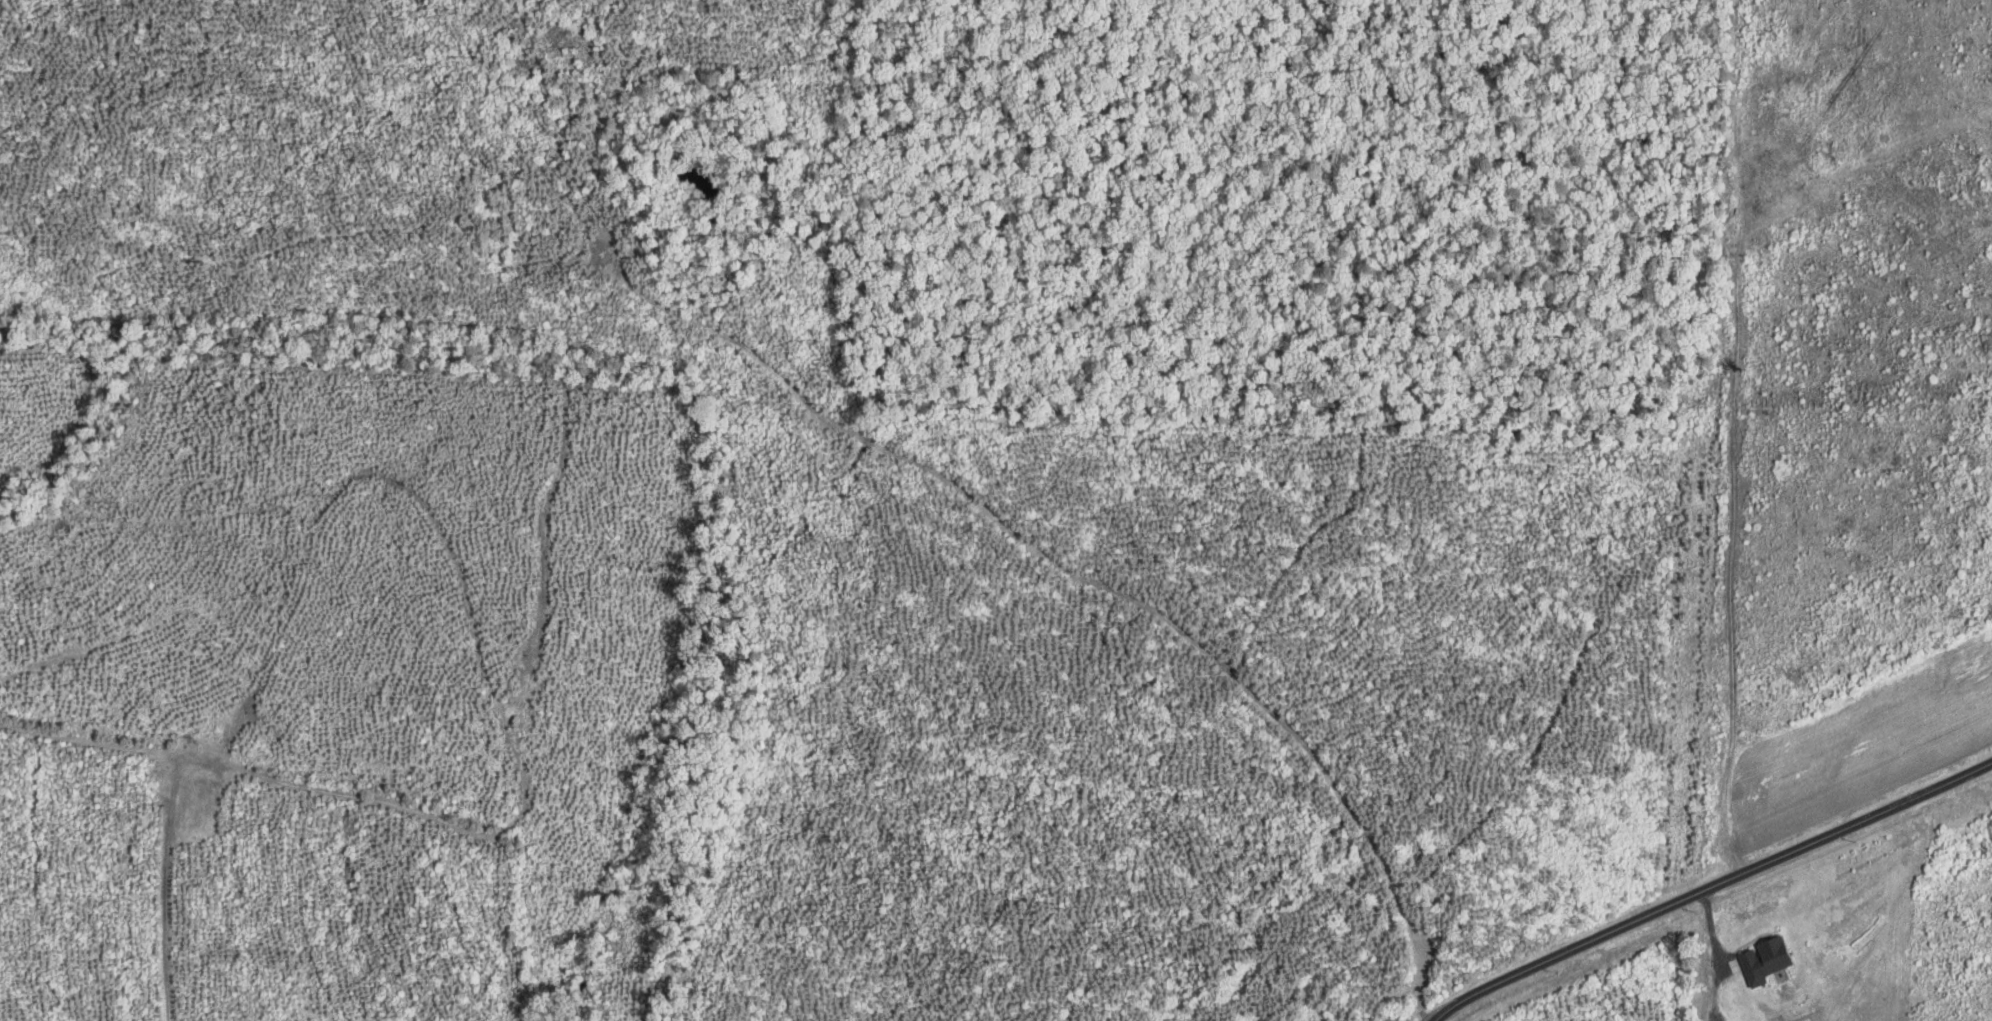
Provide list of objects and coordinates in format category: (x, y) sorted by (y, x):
road: (1368, 832)
road: (1710, 885)
building: (1766, 958)

